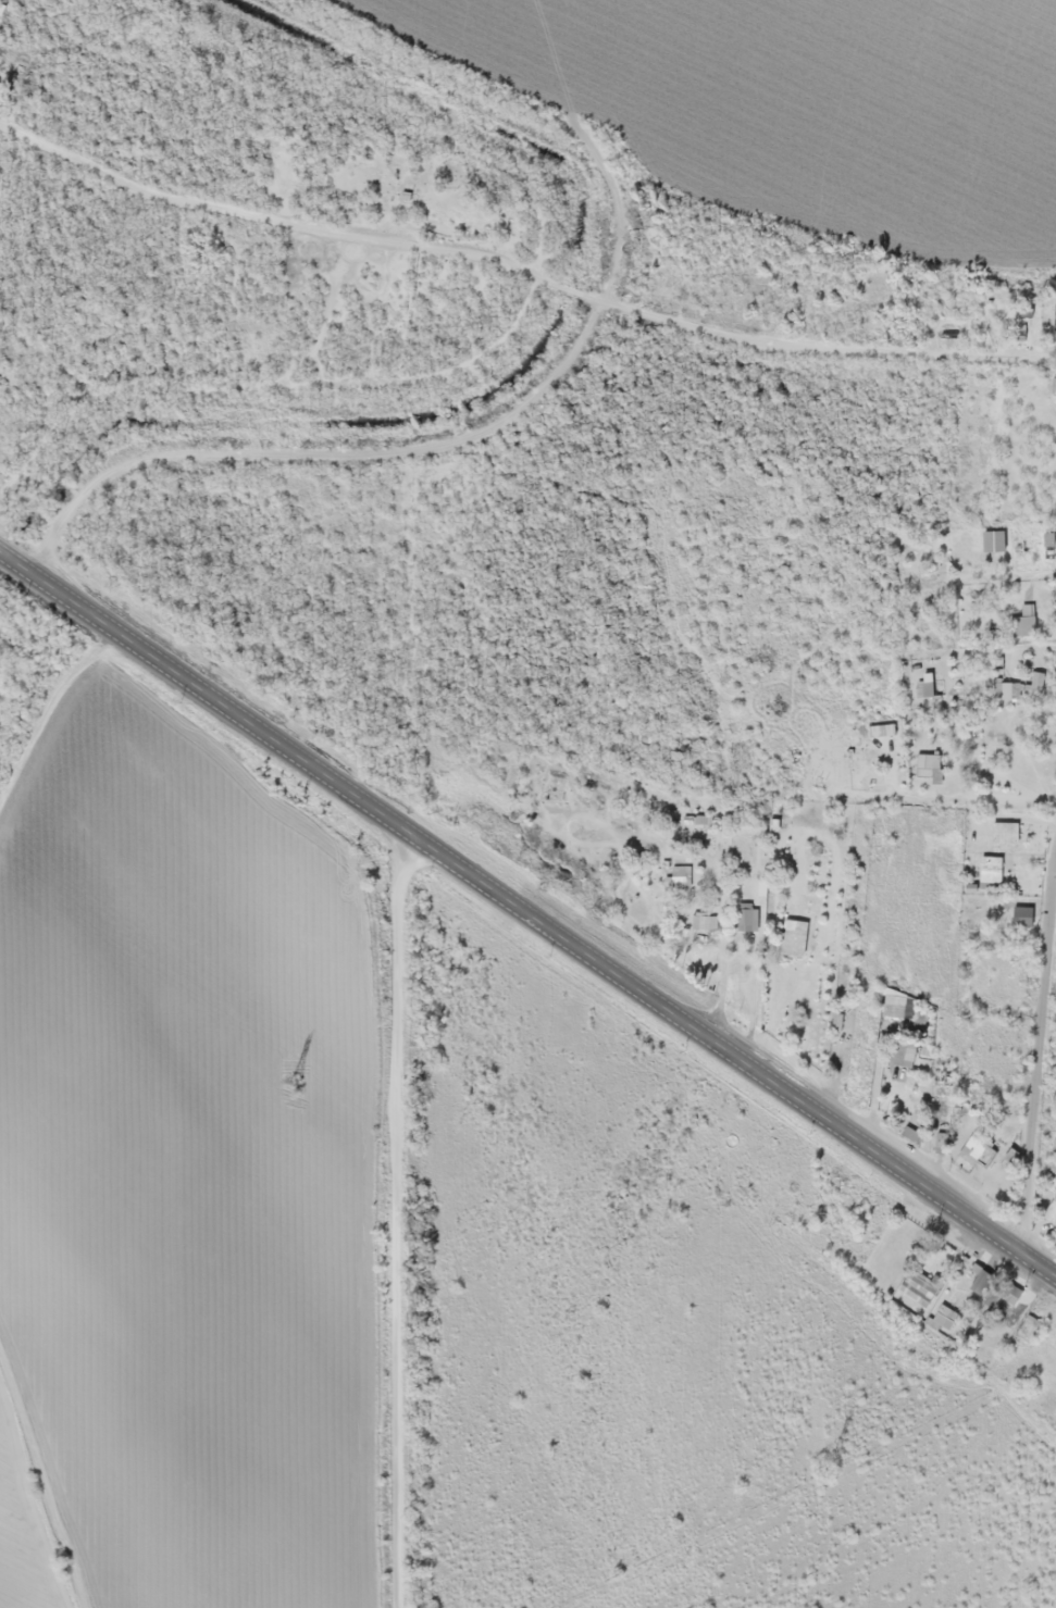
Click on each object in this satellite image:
road: (522, 269)
road: (527, 911)
road: (1035, 1048)
power tower: (297, 1083)
power tower: (841, 1460)

